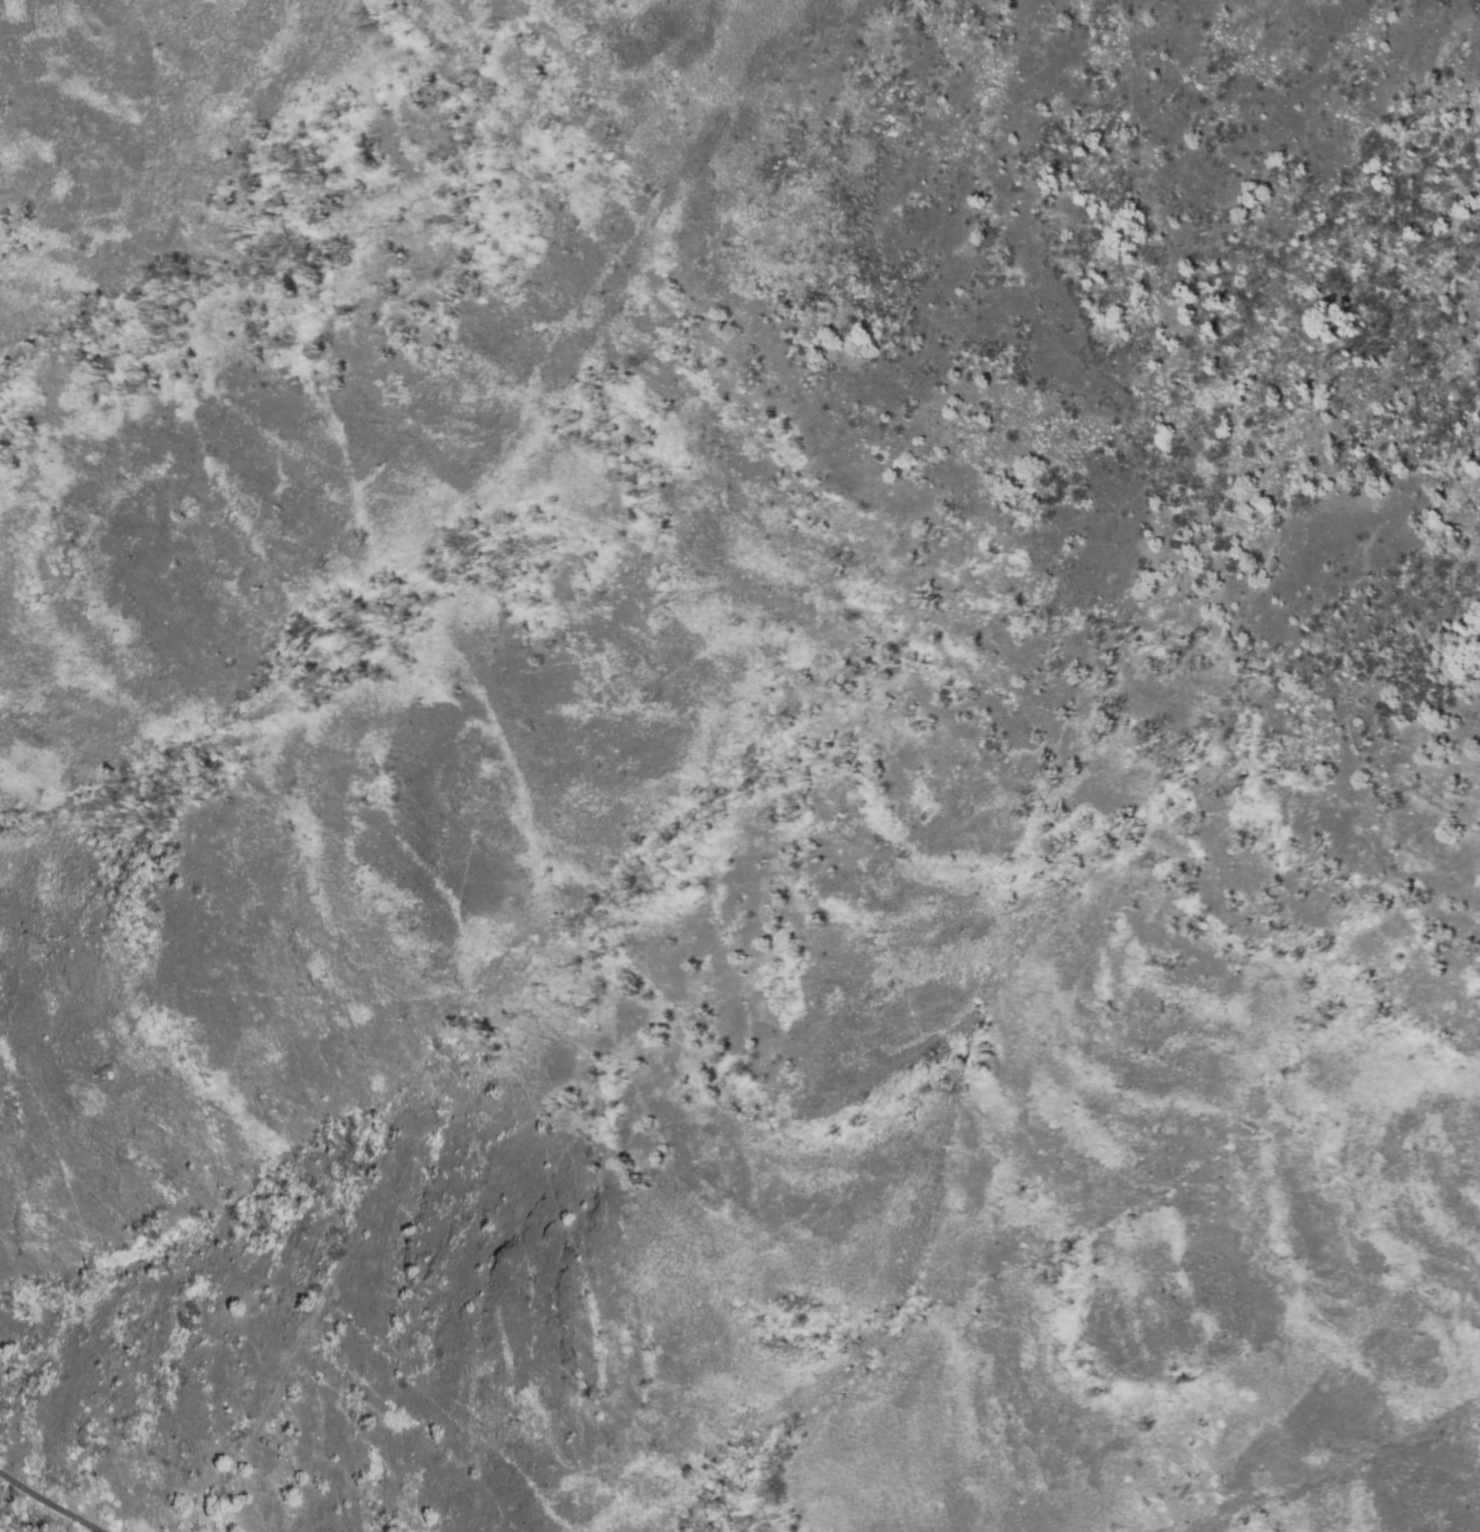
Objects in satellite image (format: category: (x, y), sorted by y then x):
road: (49, 1502)

